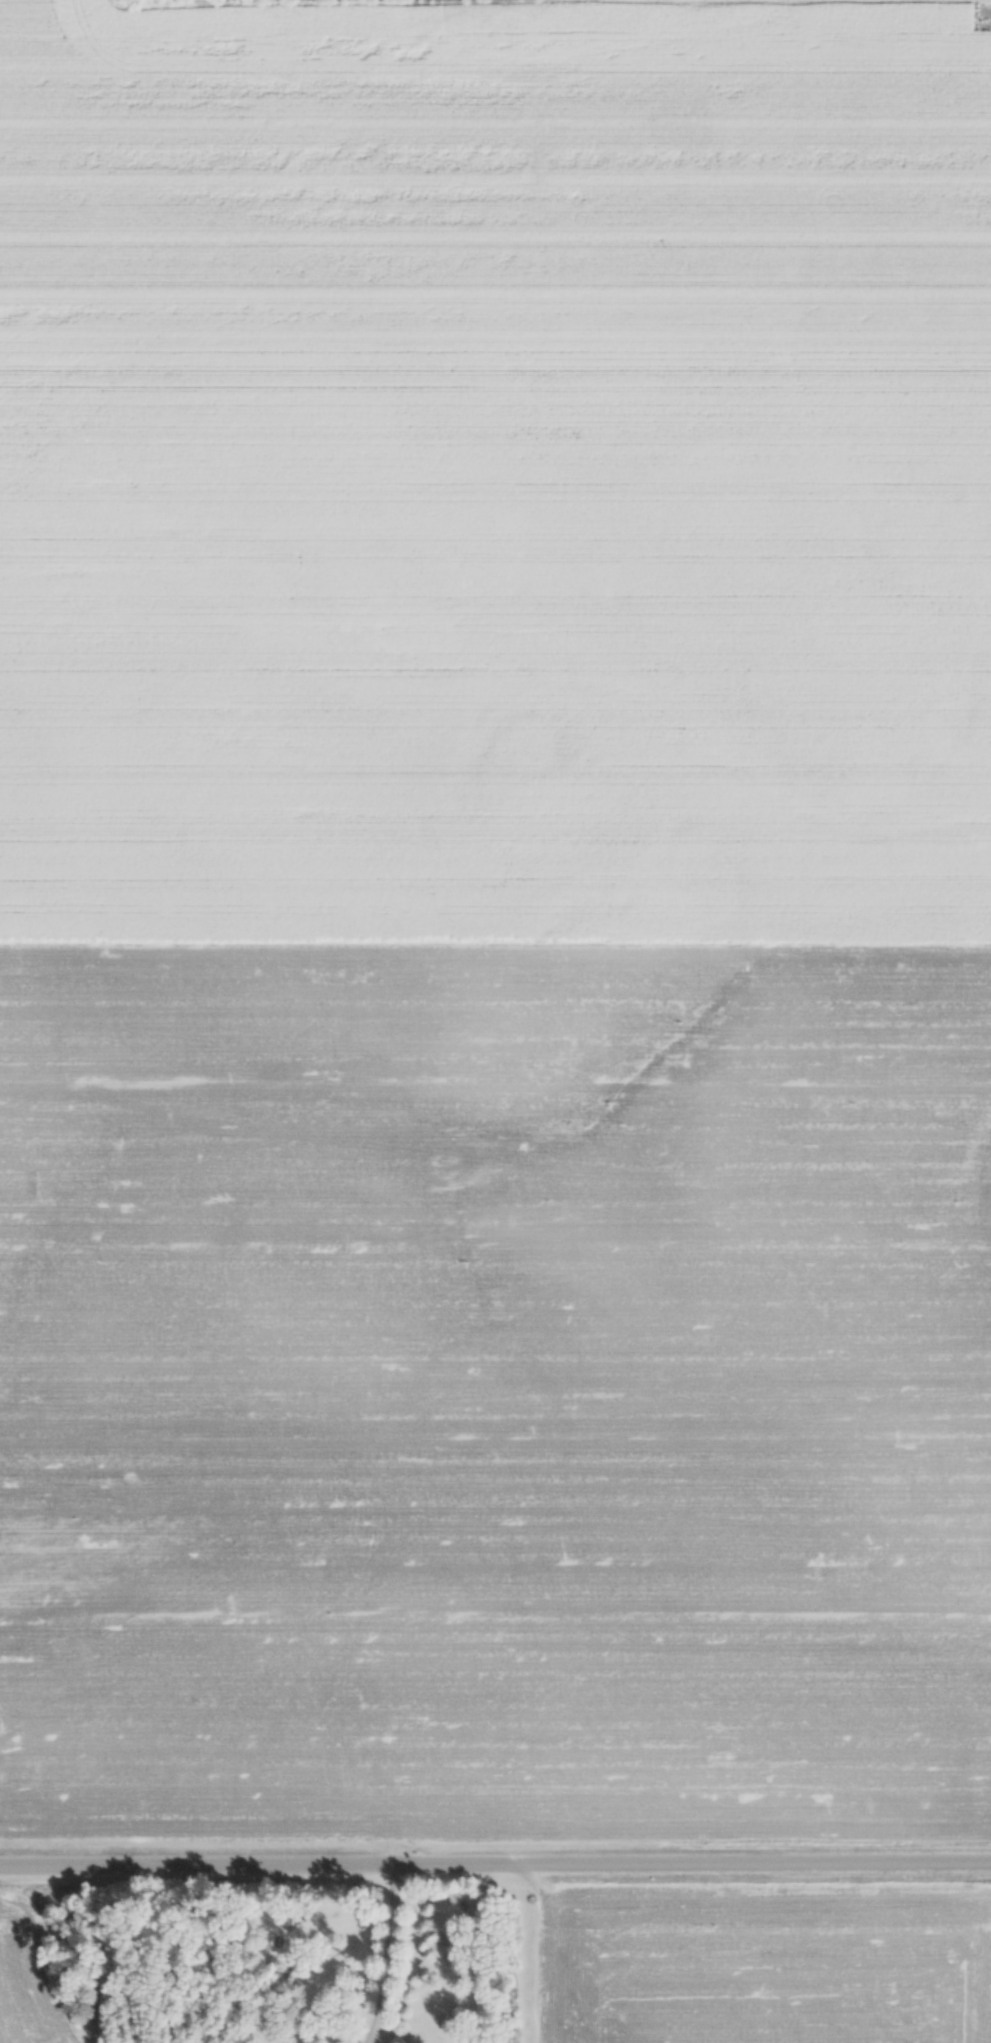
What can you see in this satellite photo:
road: (495, 1869)
road: (389, 1956)
road: (373, 2042)
road: (374, 2042)

